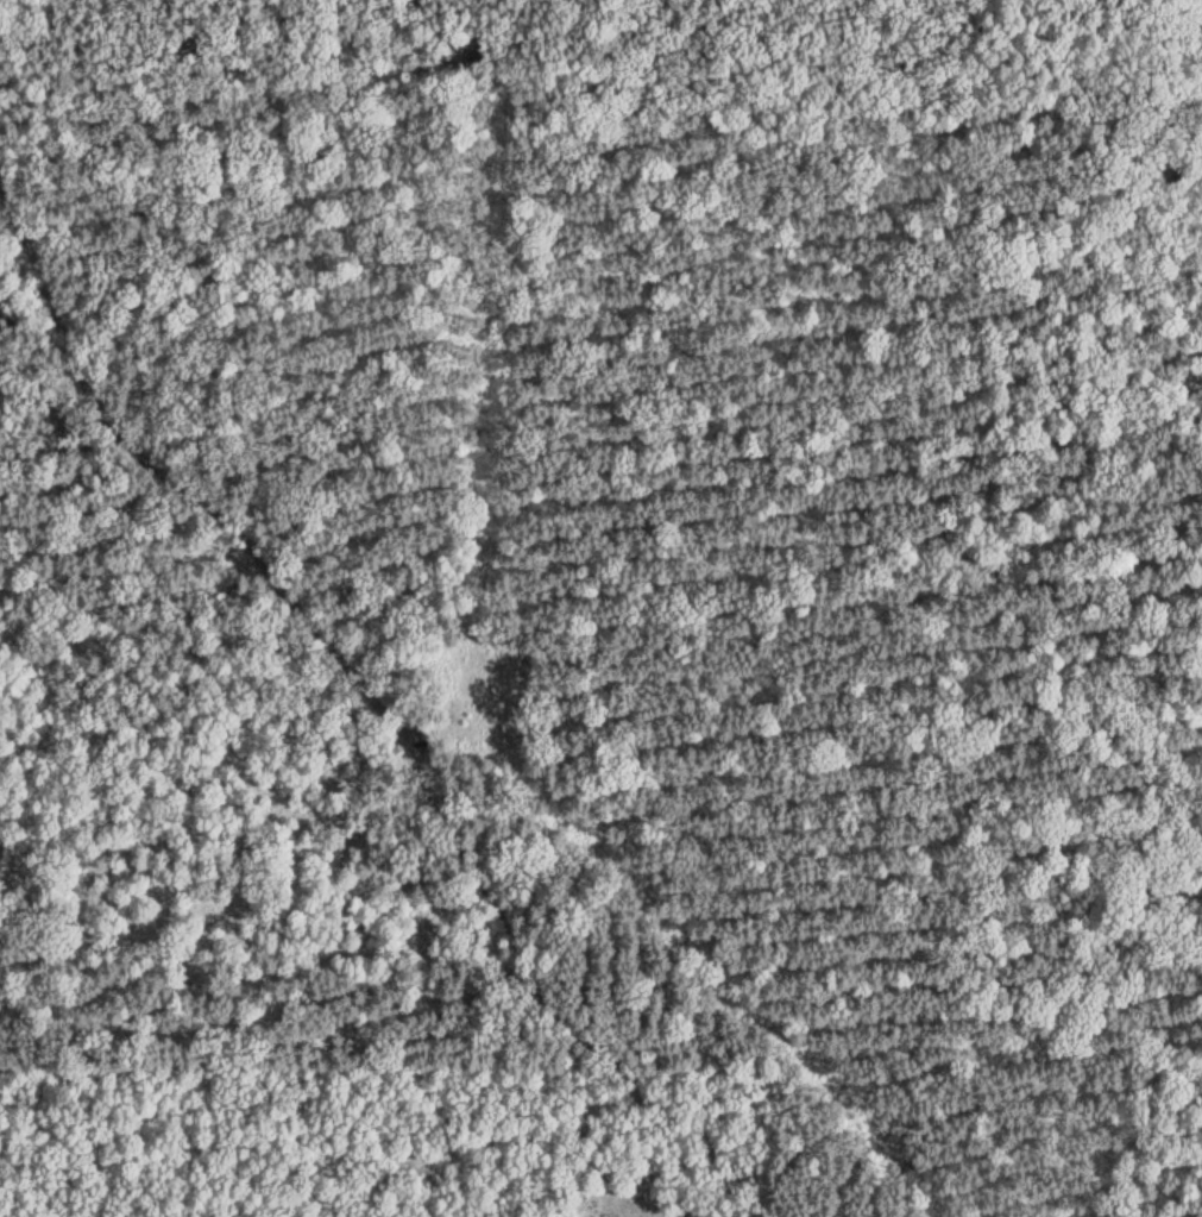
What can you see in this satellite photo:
road: (384, 722)

